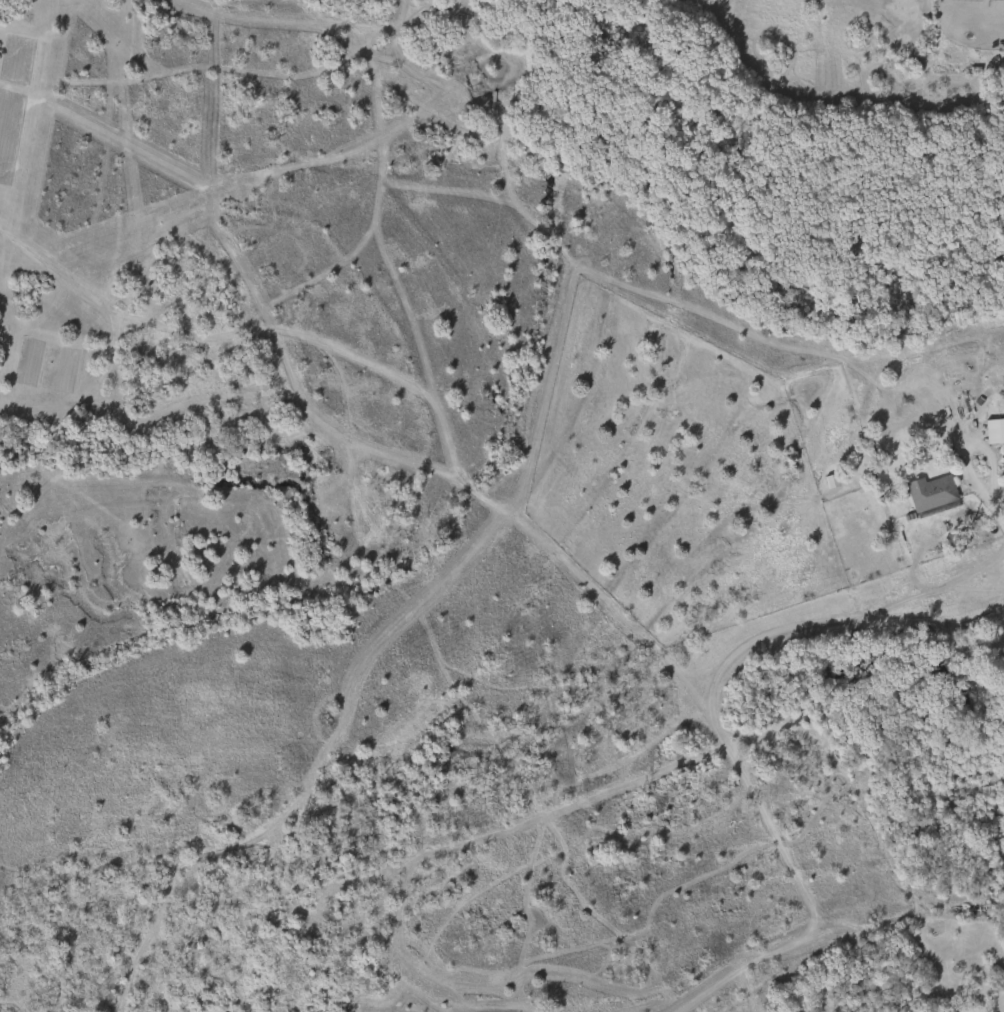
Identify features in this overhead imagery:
building: (992, 430)
building: (928, 492)
road: (989, 495)

